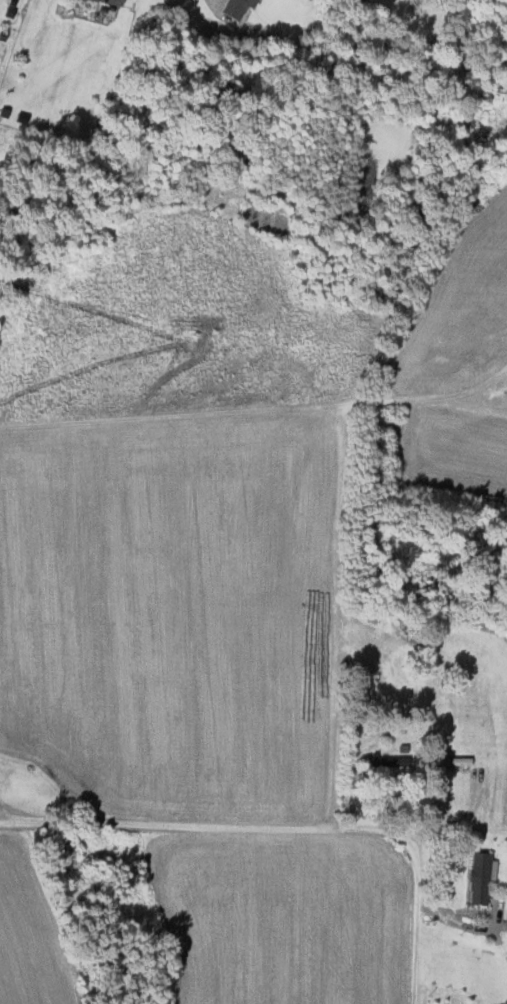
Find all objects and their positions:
building: (112, 1)
building: (234, 7)
building: (453, 761)
building: (391, 762)
road: (442, 826)
road: (285, 827)
building: (477, 878)
road: (485, 916)

